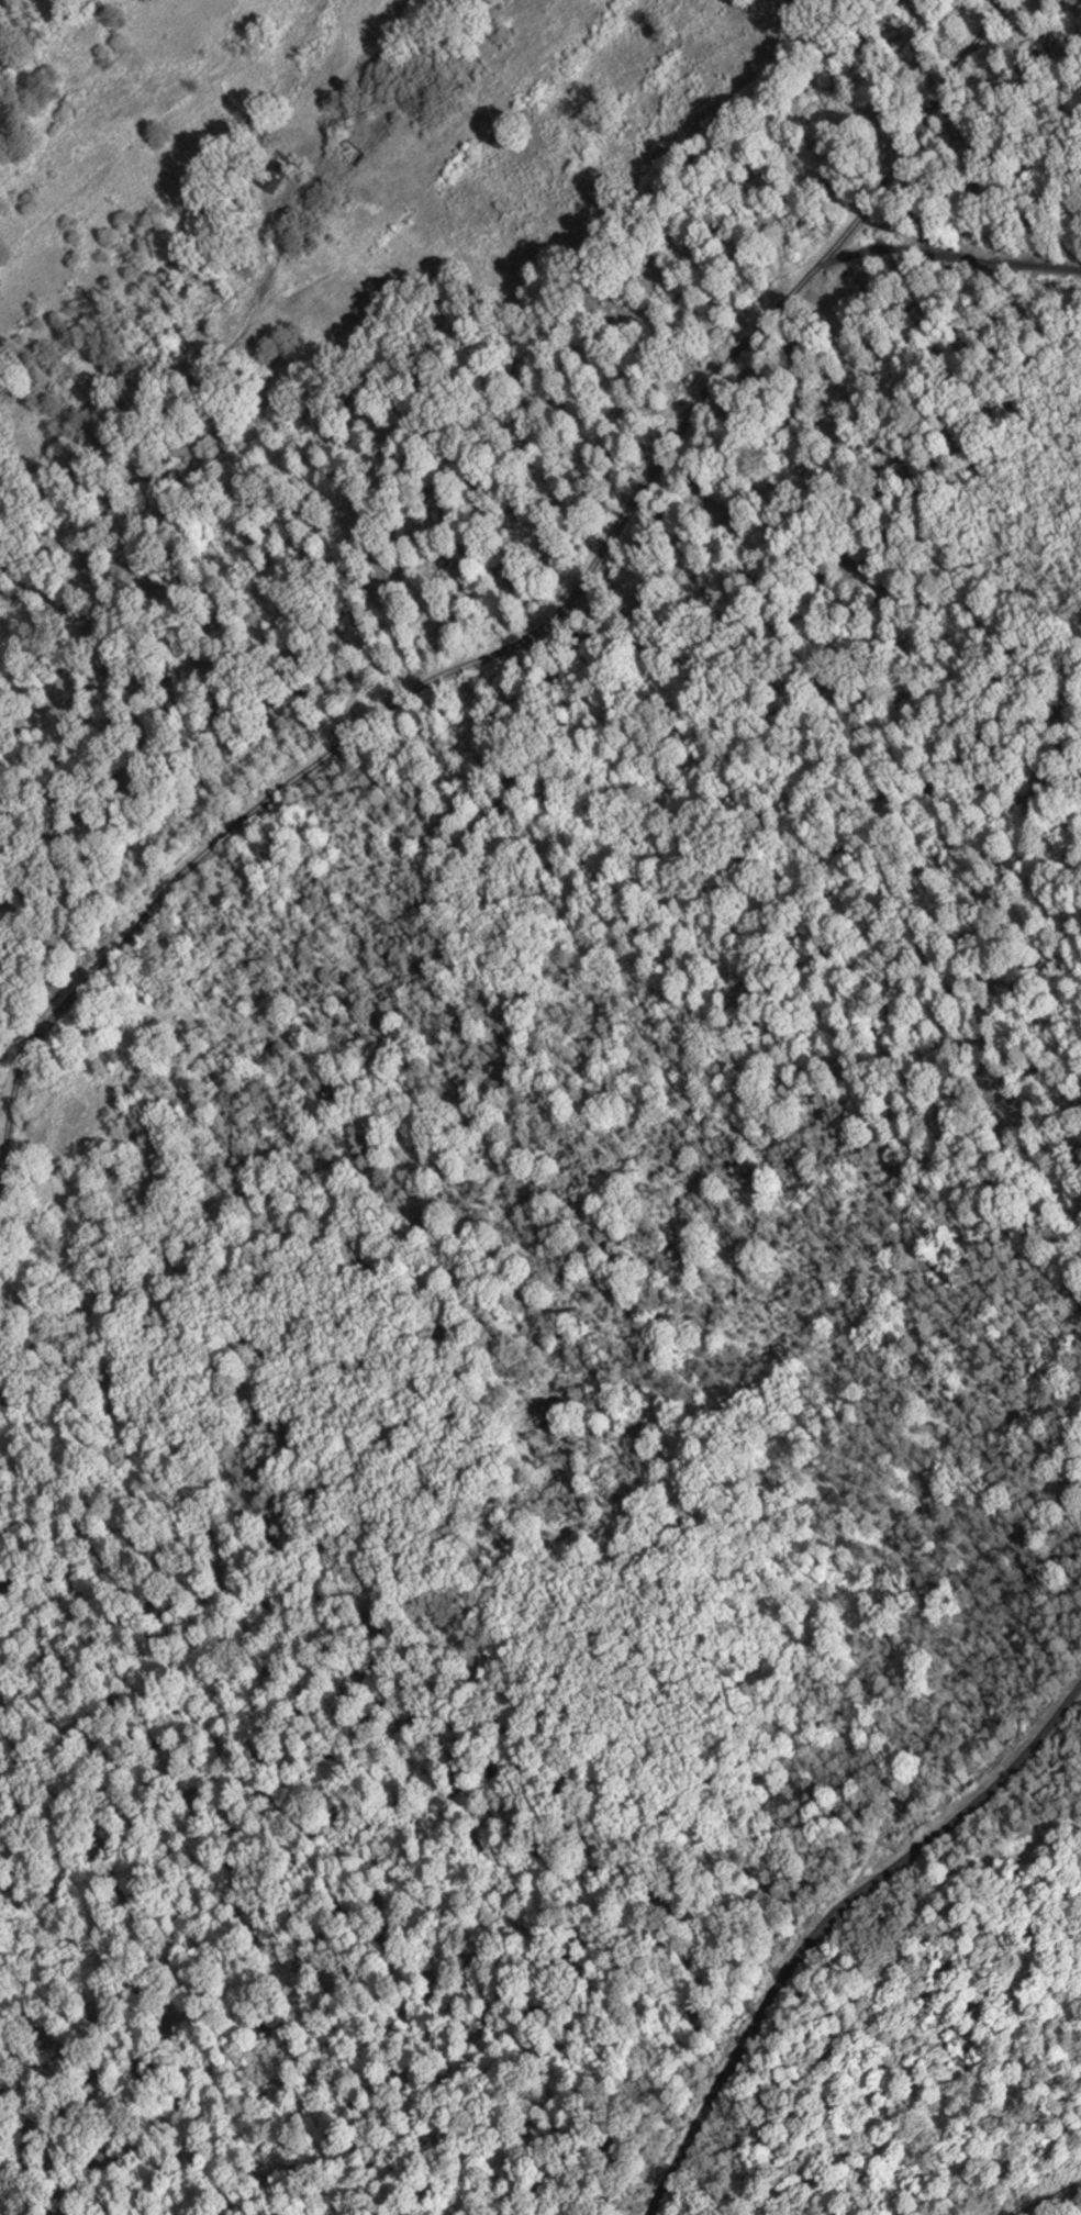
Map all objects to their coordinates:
road: (954, 252)
road: (522, 642)
road: (825, 1914)
road: (1030, 2180)

